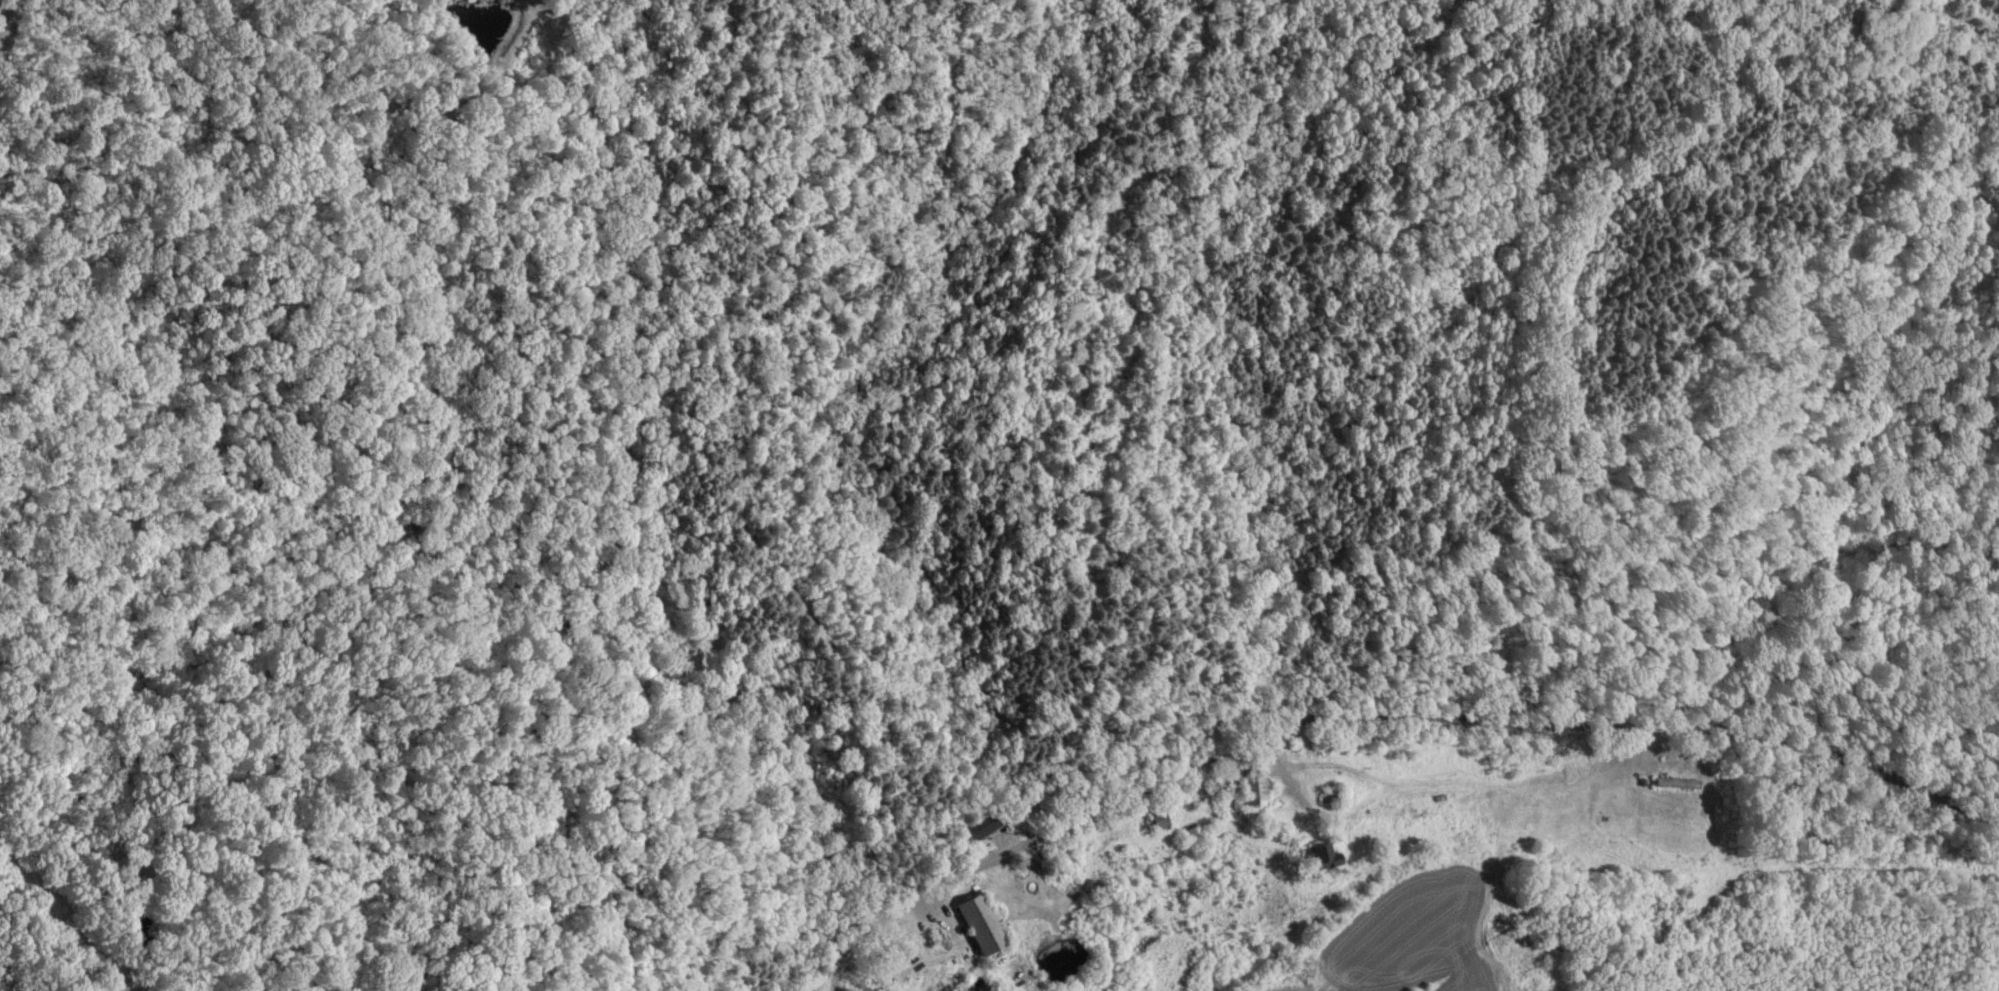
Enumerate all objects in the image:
road: (1374, 715)
building: (980, 829)
building: (974, 926)
crop: (1414, 939)

